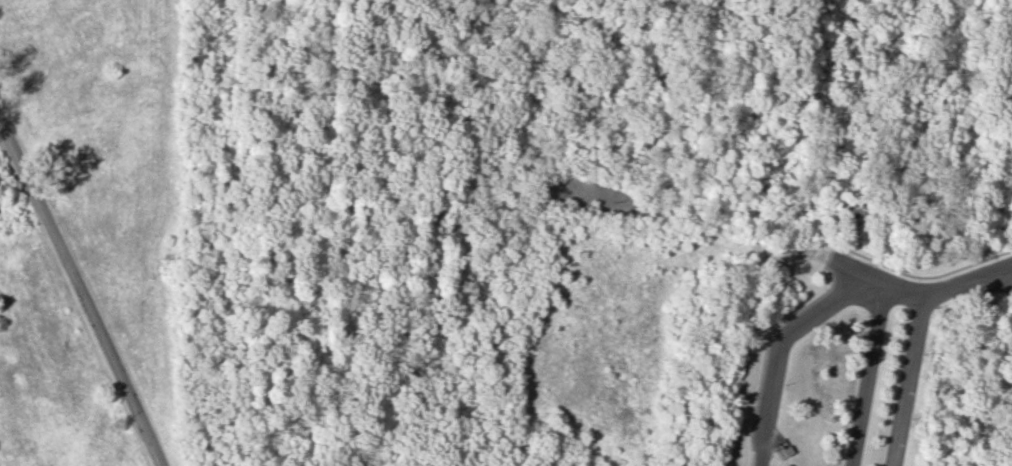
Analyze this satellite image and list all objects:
park: (424, 172)
park: (390, 188)
road: (291, 236)
road: (1005, 268)
road: (895, 270)
road: (1005, 274)
road: (83, 295)
road: (823, 304)
road: (865, 376)
road: (907, 378)

